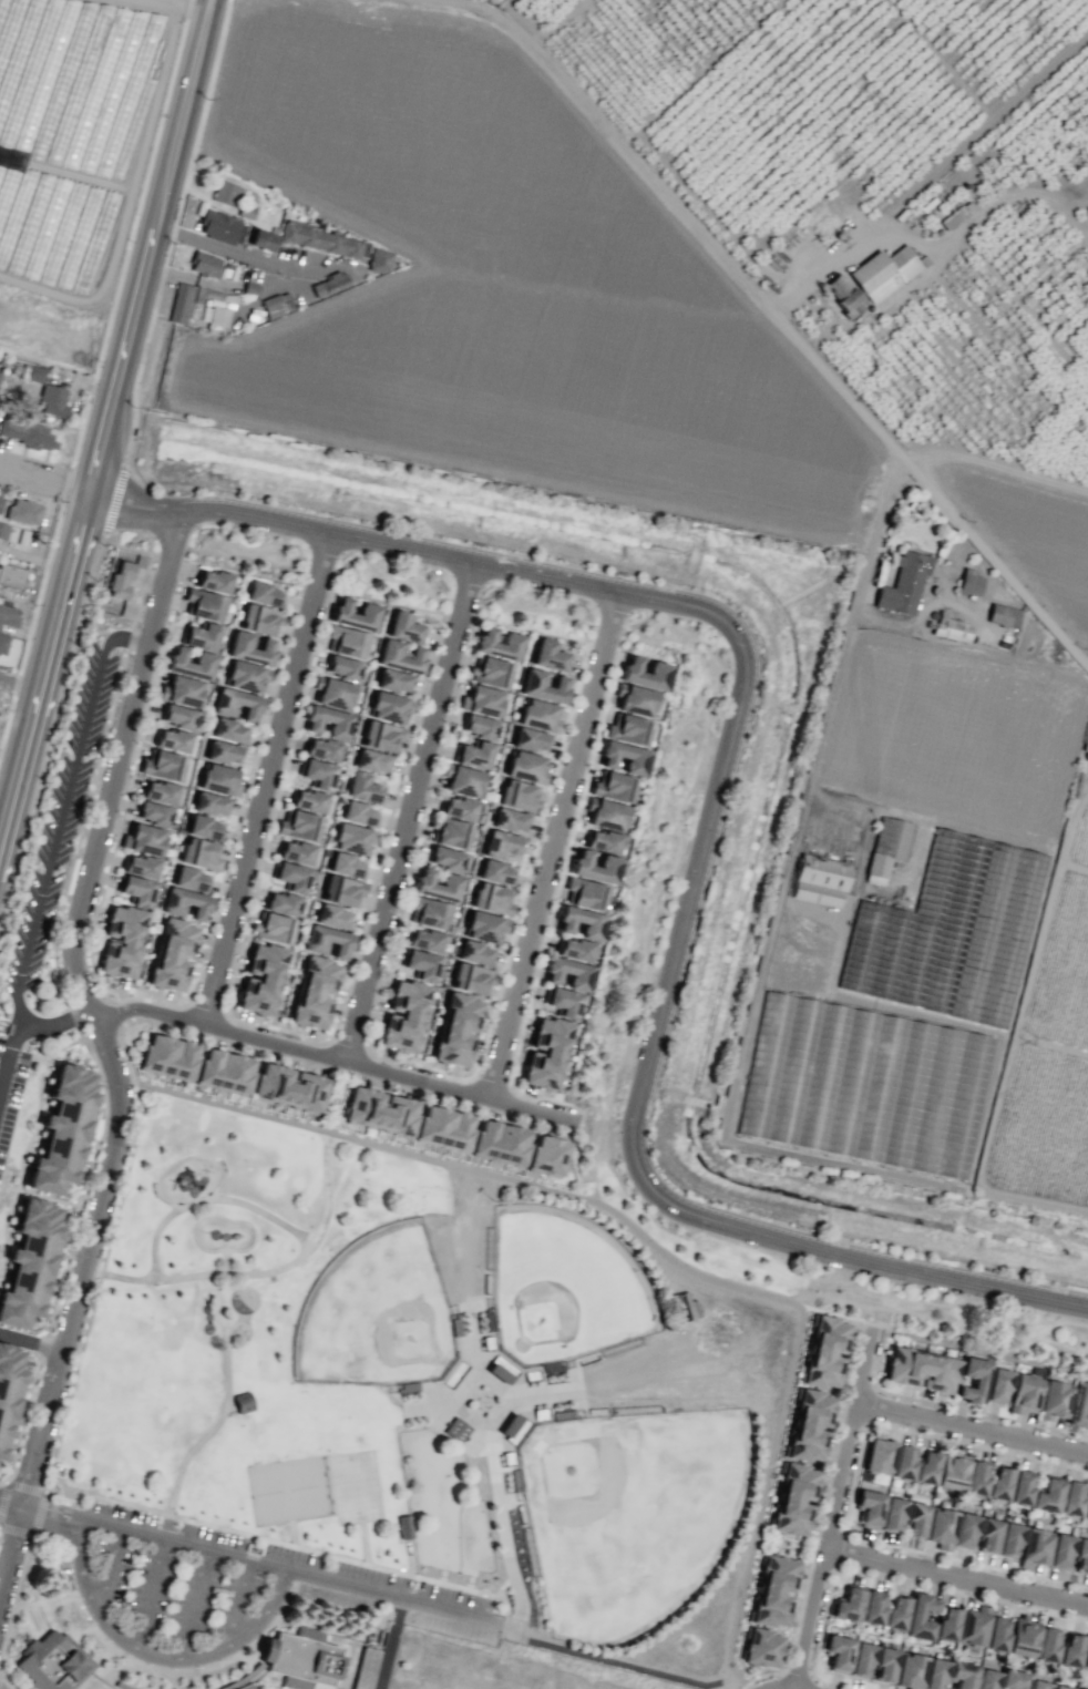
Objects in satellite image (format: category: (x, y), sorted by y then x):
building: (75, 86)
building: (226, 193)
building: (220, 227)
building: (263, 239)
building: (322, 239)
road: (147, 245)
road: (216, 248)
building: (379, 260)
building: (204, 264)
building: (883, 272)
building: (328, 284)
building: (844, 295)
building: (276, 304)
building: (216, 313)
road: (771, 313)
building: (34, 373)
building: (52, 400)
crop: (692, 423)
building: (29, 433)
road: (43, 478)
road: (134, 500)
building: (1, 501)
building: (23, 511)
building: (3, 530)
building: (11, 576)
building: (121, 580)
building: (213, 581)
building: (903, 583)
building: (969, 583)
building: (264, 594)
building: (203, 604)
building: (368, 608)
building: (8, 615)
building: (1003, 615)
crop: (969, 616)
building: (259, 620)
building: (404, 627)
building: (950, 627)
building: (201, 636)
building: (346, 641)
building: (2, 644)
building: (500, 644)
building: (250, 648)
road: (843, 651)
building: (389, 652)
building: (550, 655)
road: (42, 661)
building: (191, 663)
building: (341, 667)
building: (490, 672)
building: (644, 673)
building: (245, 676)
building: (393, 680)
road: (18, 684)
building: (543, 686)
building: (182, 690)
building: (333, 693)
building: (482, 700)
building: (635, 700)
building: (236, 704)
building: (389, 707)
building: (538, 715)
building: (177, 716)
crop: (2, 718)
building: (328, 721)
building: (479, 726)
building: (627, 729)
building: (228, 730)
building: (381, 736)
building: (531, 739)
building: (172, 740)
building: (1086, 746)
building: (320, 749)
building: (223, 753)
building: (473, 754)
building: (623, 757)
building: (372, 761)
building: (162, 765)
building: (525, 767)
building: (317, 772)
building: (218, 779)
road: (269, 779)
building: (462, 780)
building: (613, 786)
building: (363, 788)
building: (158, 791)
building: (517, 795)
road: (112, 797)
building: (308, 800)
building: (211, 803)
building: (458, 808)
road: (60, 810)
road: (412, 810)
building: (153, 813)
building: (359, 813)
building: (605, 813)
building: (510, 820)
building: (298, 826)
building: (204, 828)
building: (451, 832)
building: (352, 838)
building: (144, 839)
building: (601, 841)
building: (502, 844)
road: (557, 846)
building: (886, 847)
building: (295, 852)
building: (199, 854)
road: (698, 856)
building: (444, 858)
building: (346, 864)
building: (138, 866)
building: (594, 867)
building: (496, 872)
building: (290, 877)
building: (191, 879)
building: (450, 880)
building: (819, 880)
building: (135, 890)
building: (341, 890)
building: (585, 893)
building: (492, 899)
building: (185, 903)
building: (281, 903)
building: (428, 912)
building: (332, 917)
building: (581, 922)
building: (484, 927)
building: (273, 928)
building: (950, 932)
building: (424, 940)
building: (327, 941)
building: (121, 942)
building: (573, 949)
building: (475, 953)
building: (173, 954)
building: (420, 964)
building: (567, 973)
building: (261, 979)
building: (471, 979)
building: (315, 992)
building: (562, 1002)
building: (403, 1016)
road: (27, 1024)
building: (456, 1030)
building: (545, 1053)
road: (338, 1055)
building: (167, 1056)
building: (224, 1071)
building: (288, 1087)
building: (379, 1110)
building: (443, 1128)
building: (62, 1129)
building: (500, 1143)
building: (547, 1156)
road: (575, 1157)
road: (211, 1199)
road: (201, 1210)
road: (218, 1216)
road: (650, 1243)
building: (29, 1262)
road: (261, 1273)
park: (568, 1291)
road: (838, 1313)
park: (377, 1314)
road: (69, 1341)
road: (33, 1342)
building: (823, 1351)
building: (921, 1370)
building: (497, 1373)
building: (973, 1380)
building: (997, 1385)
building: (8, 1390)
park: (431, 1391)
road: (227, 1394)
building: (1053, 1400)
building: (242, 1402)
building: (1078, 1404)
building: (809, 1425)
building: (513, 1427)
road: (973, 1427)
building: (455, 1430)
building: (879, 1454)
building: (903, 1462)
building: (926, 1467)
building: (952, 1470)
building: (976, 1477)
building: (999, 1483)
building: (1020, 1487)
building: (1047, 1495)
building: (1071, 1498)
building: (793, 1499)
road: (9, 1504)
building: (870, 1507)
building: (1086, 1509)
road: (834, 1512)
building: (892, 1514)
park: (637, 1518)
building: (915, 1519)
building: (403, 1526)
building: (940, 1527)
building: (965, 1531)
building: (988, 1535)
building: (1009, 1539)
building: (1034, 1547)
building: (1060, 1550)
building: (1081, 1556)
road: (256, 1563)
road: (110, 1573)
road: (409, 1576)
road: (957, 1578)
building: (773, 1590)
road: (151, 1595)
road: (238, 1603)
road: (193, 1604)
building: (848, 1605)
building: (872, 1607)
building: (896, 1613)
building: (920, 1616)
building: (946, 1624)
building: (972, 1627)
building: (996, 1634)
building: (1023, 1637)
building: (1047, 1645)
building: (760, 1648)
building: (1070, 1650)
building: (838, 1652)
road: (156, 1656)
building: (1085, 1656)
building: (301, 1659)
building: (861, 1659)
building: (53, 1662)
building: (884, 1665)
park: (500, 1667)
building: (365, 1668)
building: (909, 1670)
building: (934, 1673)
building: (962, 1675)
building: (986, 1679)
building: (1012, 1679)
building: (1037, 1685)
building: (246, 1686)
building: (1060, 1687)
building: (1080, 1688)

